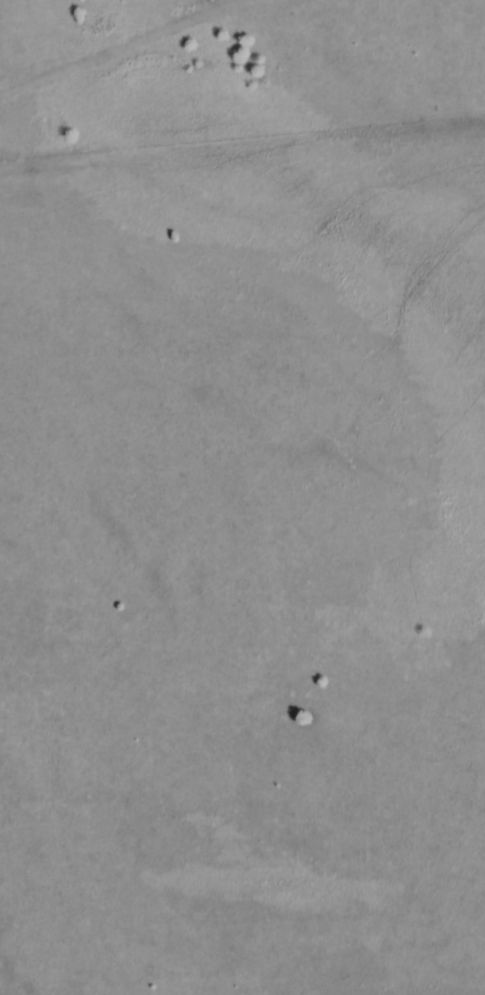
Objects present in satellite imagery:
road: (124, 48)

